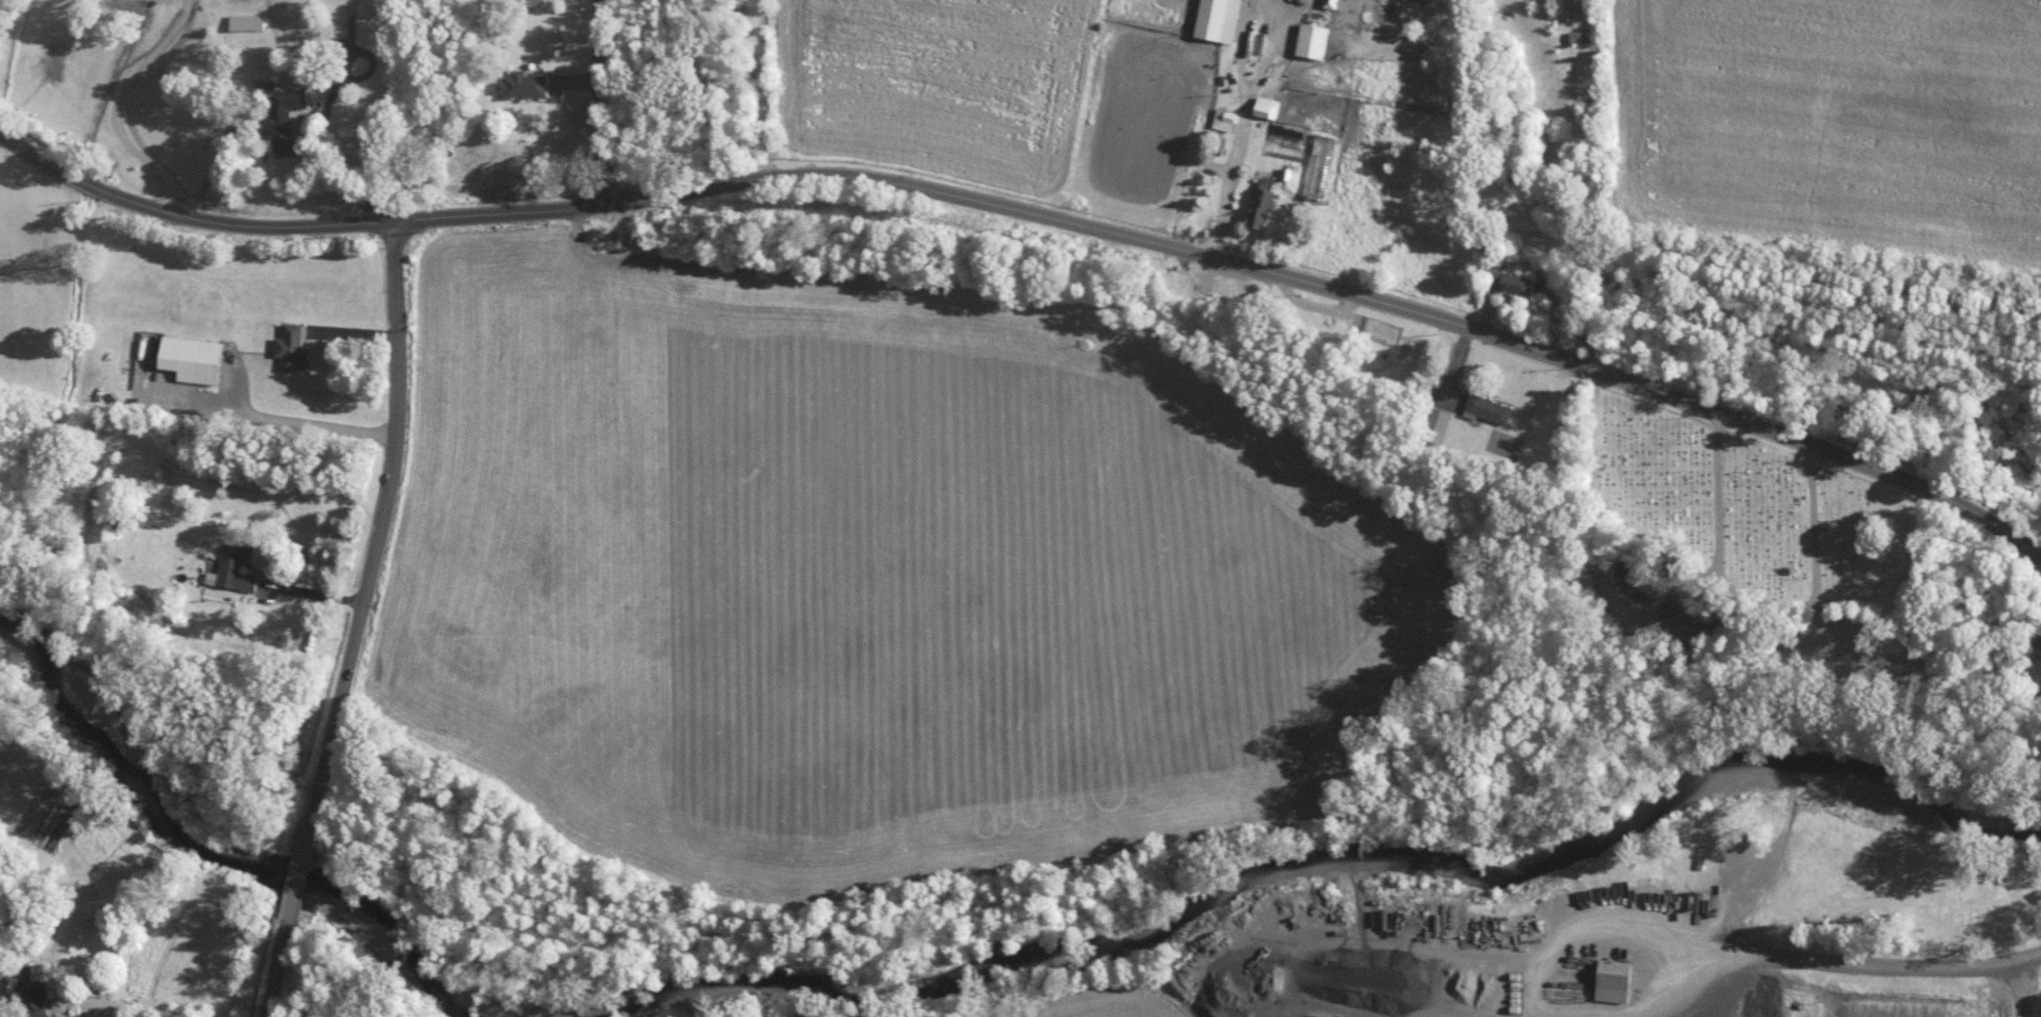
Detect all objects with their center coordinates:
building: (535, 1)
building: (1331, 3)
building: (1219, 19)
building: (248, 21)
building: (1313, 40)
building: (523, 84)
road: (767, 88)
road: (601, 100)
road: (121, 103)
building: (1267, 106)
building: (284, 117)
building: (1225, 118)
road: (324, 123)
road: (1246, 134)
building: (1320, 165)
building: (1263, 201)
road: (1038, 213)
building: (1512, 281)
building: (292, 347)
building: (193, 358)
building: (1488, 408)
building: (1439, 418)
road: (288, 419)
park: (1752, 511)
road: (379, 523)
building: (234, 567)
road: (310, 592)
road: (302, 871)
road: (1830, 957)
road: (278, 968)
building: (1614, 979)
building: (35, 990)
road: (135, 1005)

